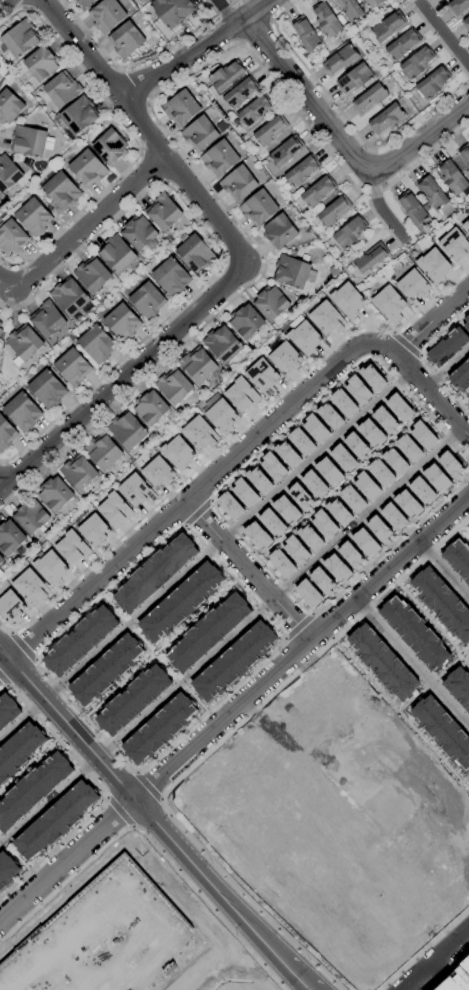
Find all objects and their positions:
building: (145, 0)
road: (3, 2)
building: (83, 2)
road: (22, 3)
building: (373, 3)
building: (458, 6)
road: (24, 9)
building: (350, 10)
building: (172, 11)
road: (226, 12)
building: (107, 16)
building: (326, 19)
building: (466, 24)
building: (388, 26)
building: (305, 34)
road: (445, 37)
building: (20, 38)
building: (126, 40)
building: (403, 45)
road: (197, 48)
road: (141, 60)
building: (340, 60)
building: (41, 63)
building: (417, 63)
building: (226, 75)
building: (354, 78)
building: (433, 83)
building: (62, 89)
building: (240, 93)
building: (369, 99)
building: (9, 106)
building: (181, 108)
building: (254, 111)
building: (79, 115)
building: (386, 119)
road: (347, 121)
road: (307, 127)
building: (270, 130)
building: (200, 134)
road: (133, 139)
building: (30, 141)
building: (110, 147)
road: (345, 148)
building: (286, 151)
road: (140, 153)
building: (465, 154)
building: (220, 158)
road: (153, 167)
building: (87, 168)
building: (302, 171)
building: (8, 173)
building: (453, 177)
road: (164, 182)
building: (238, 183)
building: (60, 189)
building: (318, 191)
building: (435, 196)
building: (258, 208)
road: (382, 209)
building: (412, 209)
building: (333, 211)
building: (163, 212)
building: (32, 216)
building: (466, 225)
road: (81, 229)
building: (279, 231)
building: (138, 233)
building: (349, 233)
building: (11, 236)
building: (454, 245)
building: (194, 253)
building: (116, 254)
road: (222, 256)
building: (370, 257)
building: (432, 264)
road: (249, 266)
building: (291, 272)
building: (92, 275)
building: (171, 277)
building: (412, 285)
building: (69, 297)
building: (346, 299)
building: (147, 301)
building: (270, 303)
building: (388, 303)
building: (325, 318)
building: (47, 319)
road: (210, 319)
building: (246, 322)
building: (122, 323)
building: (466, 323)
building: (0, 324)
building: (1, 326)
building: (1, 331)
road: (391, 332)
building: (303, 337)
building: (24, 343)
building: (222, 344)
road: (404, 344)
building: (97, 345)
building: (446, 346)
road: (419, 355)
building: (284, 356)
road: (422, 360)
building: (198, 365)
building: (72, 367)
road: (447, 368)
building: (460, 375)
building: (261, 376)
building: (371, 377)
building: (174, 386)
building: (357, 389)
building: (47, 390)
building: (240, 394)
road: (431, 394)
road: (462, 396)
building: (468, 400)
building: (342, 403)
building: (398, 407)
building: (150, 408)
building: (22, 412)
building: (219, 415)
building: (328, 415)
building: (384, 419)
building: (314, 427)
building: (126, 430)
road: (466, 430)
building: (370, 432)
building: (198, 433)
building: (6, 434)
building: (422, 434)
road: (229, 438)
building: (300, 441)
building: (355, 445)
building: (408, 448)
building: (102, 451)
building: (176, 452)
building: (286, 454)
building: (342, 458)
road: (228, 460)
building: (394, 460)
road: (2, 462)
road: (1, 464)
building: (449, 464)
building: (272, 466)
building: (157, 471)
building: (328, 471)
building: (380, 472)
building: (78, 473)
building: (435, 477)
building: (258, 479)
building: (313, 484)
road: (341, 484)
building: (366, 485)
road: (1, 488)
building: (135, 490)
building: (421, 490)
building: (243, 492)
building: (54, 494)
building: (299, 496)
building: (351, 499)
road: (210, 501)
road: (213, 503)
building: (407, 503)
building: (229, 505)
building: (113, 509)
building: (285, 509)
building: (337, 511)
road: (195, 513)
building: (30, 516)
building: (392, 516)
building: (271, 522)
building: (323, 524)
road: (184, 526)
building: (378, 528)
building: (92, 530)
road: (464, 531)
building: (256, 535)
building: (309, 537)
building: (10, 538)
building: (364, 541)
building: (71, 547)
building: (295, 549)
building: (349, 554)
road: (205, 556)
building: (1, 559)
building: (457, 559)
building: (280, 563)
building: (49, 567)
building: (336, 567)
road: (246, 570)
building: (153, 572)
road: (444, 572)
road: (235, 580)
building: (321, 580)
building: (29, 586)
building: (307, 593)
building: (179, 602)
building: (441, 603)
building: (10, 606)
road: (196, 614)
road: (310, 614)
road: (427, 617)
road: (126, 622)
road: (297, 626)
building: (207, 631)
road: (10, 632)
building: (412, 632)
road: (283, 637)
road: (232, 638)
building: (79, 640)
road: (22, 647)
road: (155, 649)
road: (466, 649)
road: (458, 650)
road: (35, 659)
building: (233, 661)
road: (466, 661)
building: (381, 662)
road: (412, 662)
road: (446, 667)
building: (106, 669)
road: (311, 670)
road: (3, 680)
road: (184, 681)
road: (428, 682)
road: (5, 686)
road: (117, 686)
building: (458, 687)
building: (132, 699)
road: (409, 699)
road: (233, 708)
building: (7, 709)
road: (400, 716)
building: (158, 729)
building: (442, 731)
road: (216, 744)
building: (19, 748)
road: (28, 765)
road: (135, 771)
road: (465, 779)
road: (147, 786)
building: (32, 789)
road: (101, 792)
road: (104, 797)
road: (161, 799)
road: (118, 811)
road: (156, 819)
building: (54, 820)
road: (131, 827)
road: (299, 832)
road: (150, 841)
road: (13, 854)
building: (6, 869)
building: (101, 937)
road: (423, 948)
road: (213, 954)
road: (434, 958)
road: (445, 969)
building: (456, 977)
road: (185, 986)

